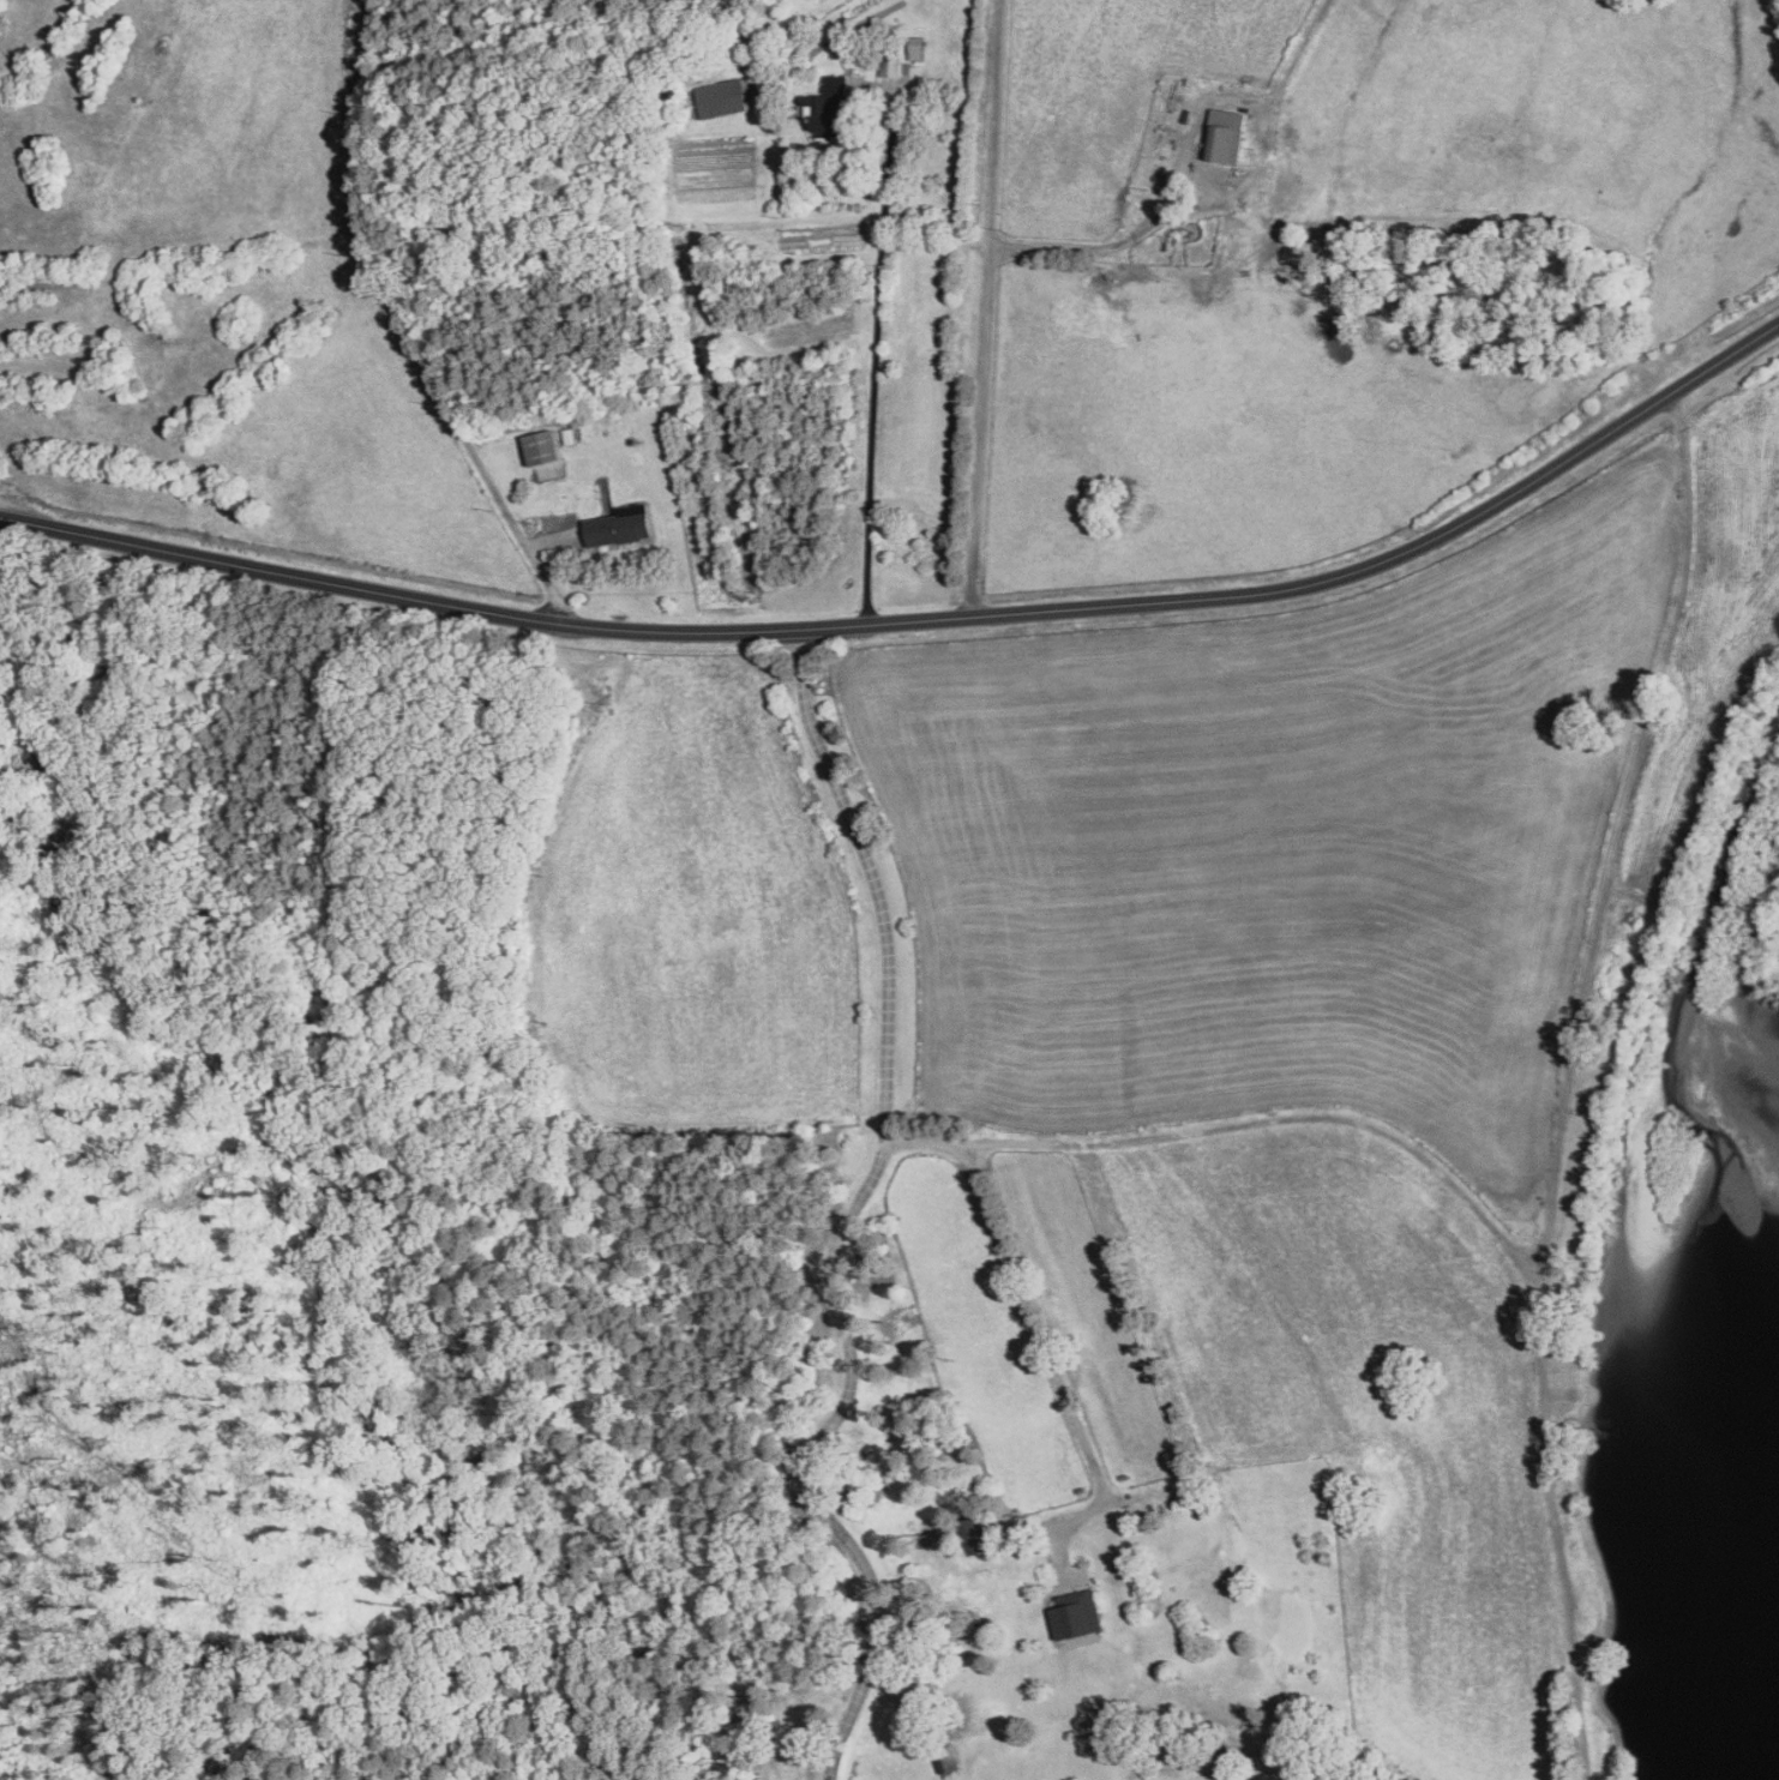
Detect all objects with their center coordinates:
building: (891, 65)
building: (720, 96)
building: (831, 102)
building: (1228, 133)
road: (1096, 246)
road: (980, 308)
road: (405, 330)
road: (875, 359)
building: (545, 445)
building: (547, 469)
building: (621, 524)
road: (919, 621)
road: (848, 1220)
road: (1033, 1318)
building: (1077, 1613)

